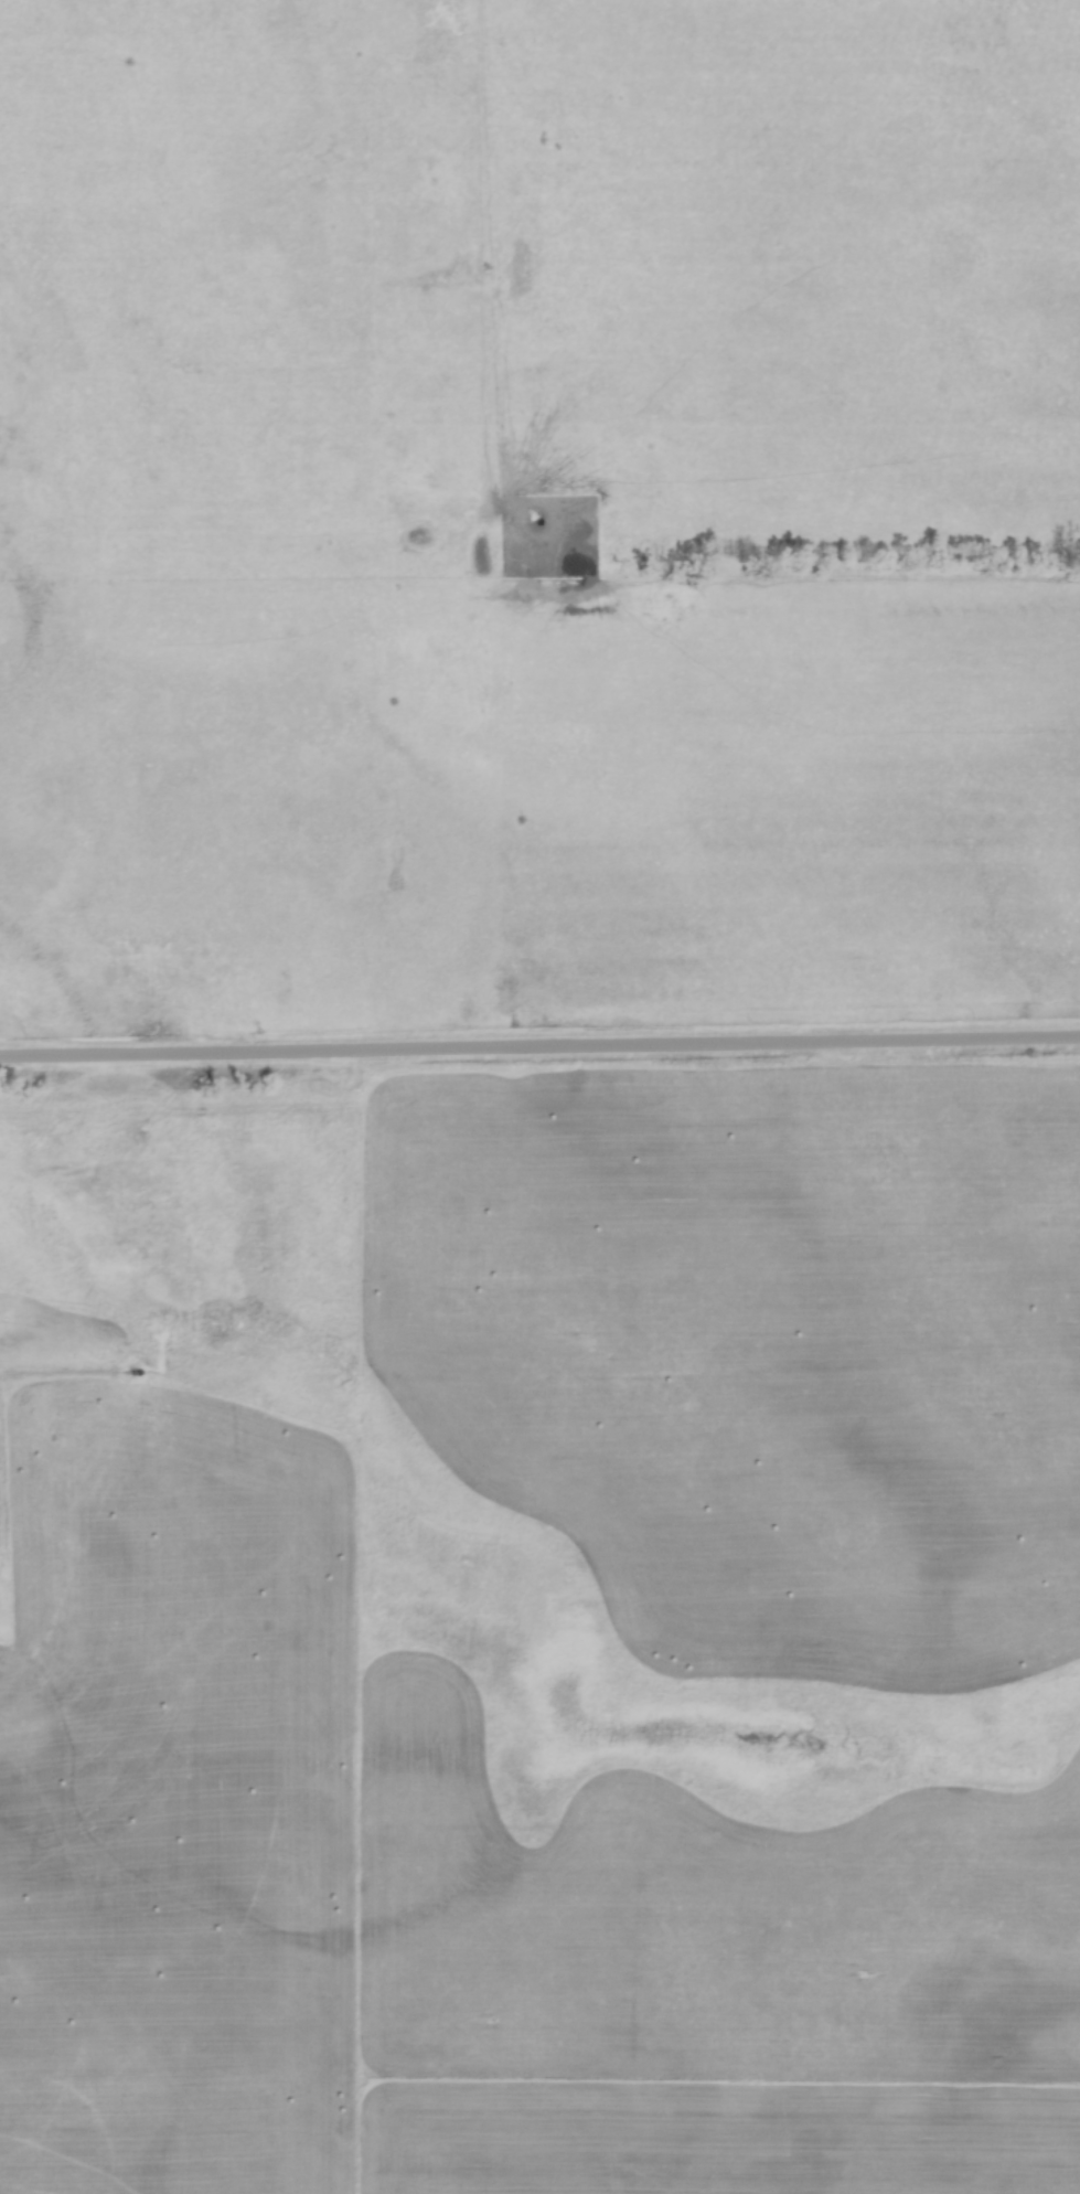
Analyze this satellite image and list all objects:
road: (539, 1053)

